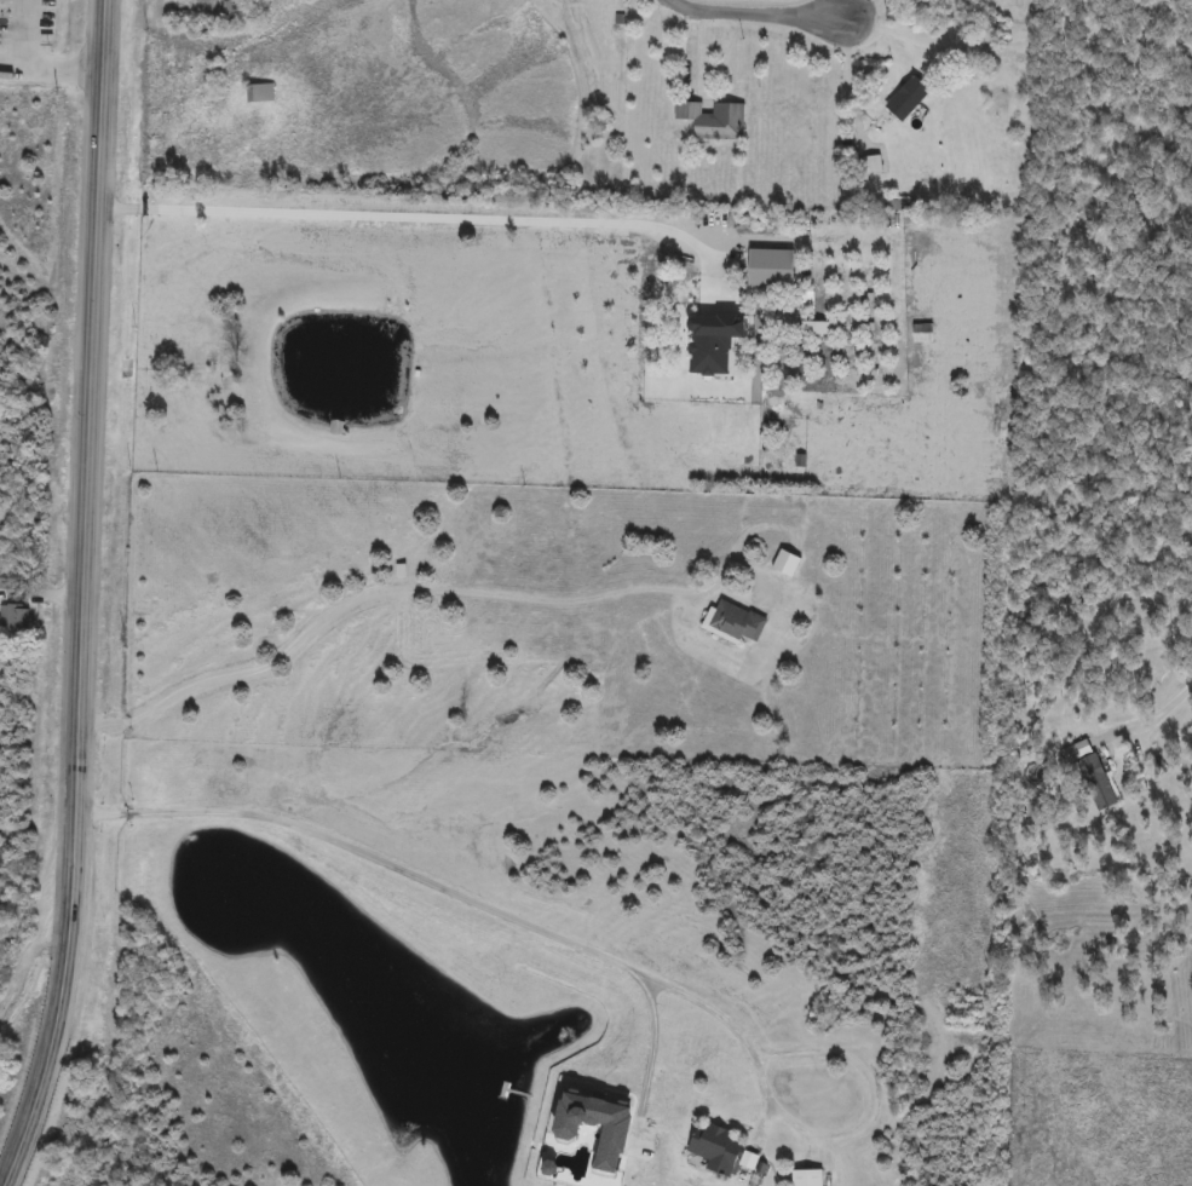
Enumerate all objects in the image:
building: (230, 11)
road: (762, 21)
road: (19, 34)
road: (56, 70)
building: (259, 93)
building: (908, 98)
building: (713, 120)
road: (416, 217)
building: (765, 276)
building: (708, 349)
building: (785, 564)
road: (376, 582)
road: (88, 598)
building: (15, 618)
building: (732, 623)
road: (1168, 709)
building: (1095, 783)
road: (460, 891)
road: (652, 1019)
road: (869, 1101)
building: (724, 1152)
building: (640, 1169)
building: (807, 1178)

